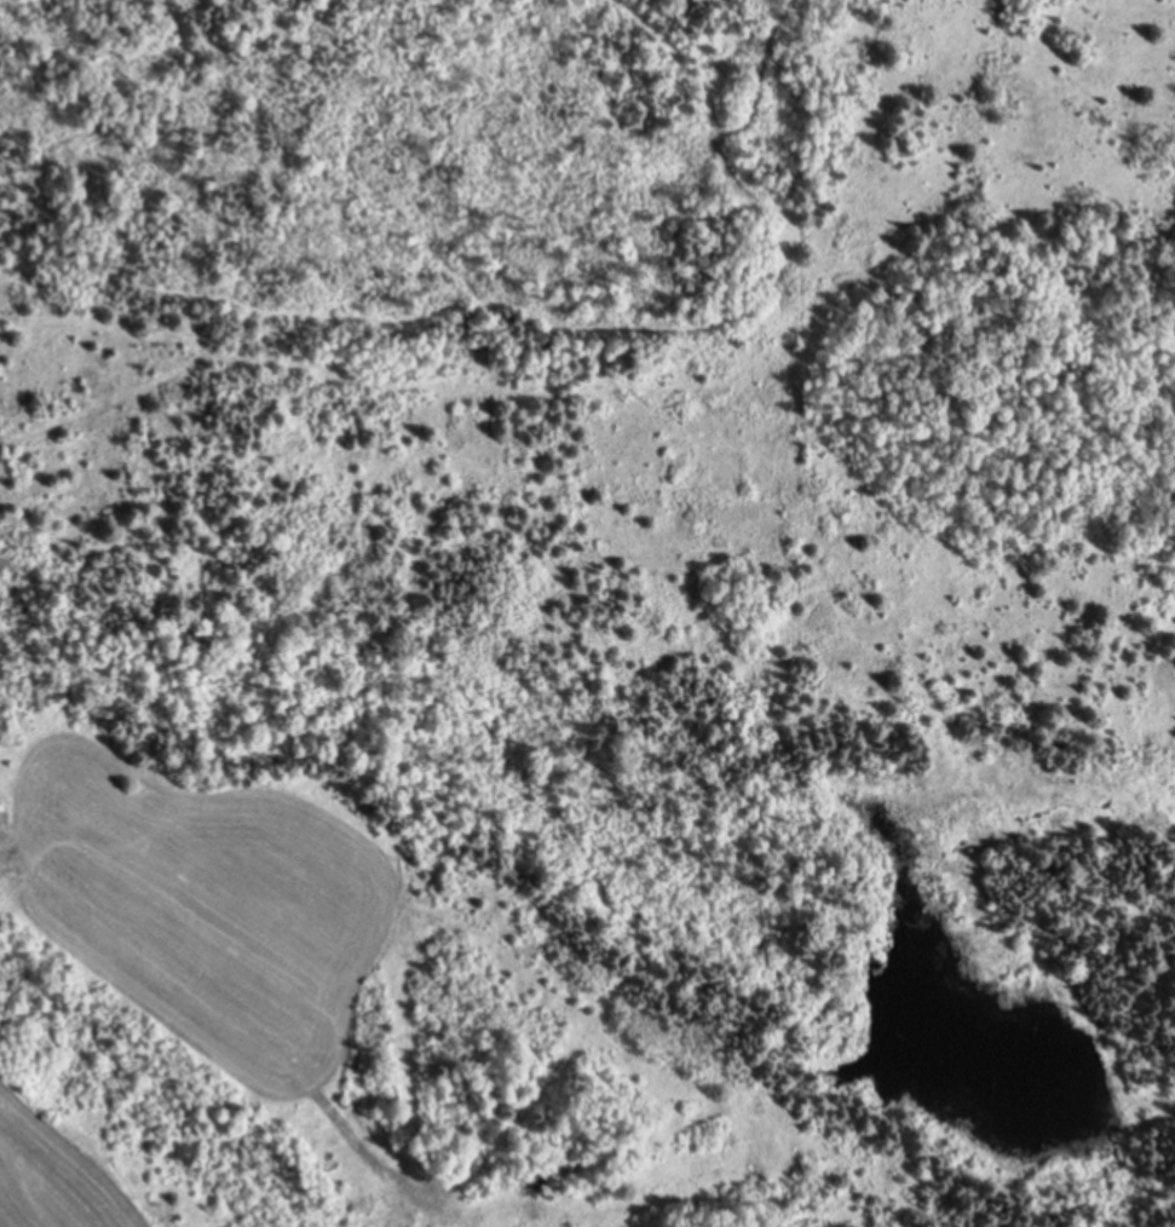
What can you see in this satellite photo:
building: (419, 1226)

